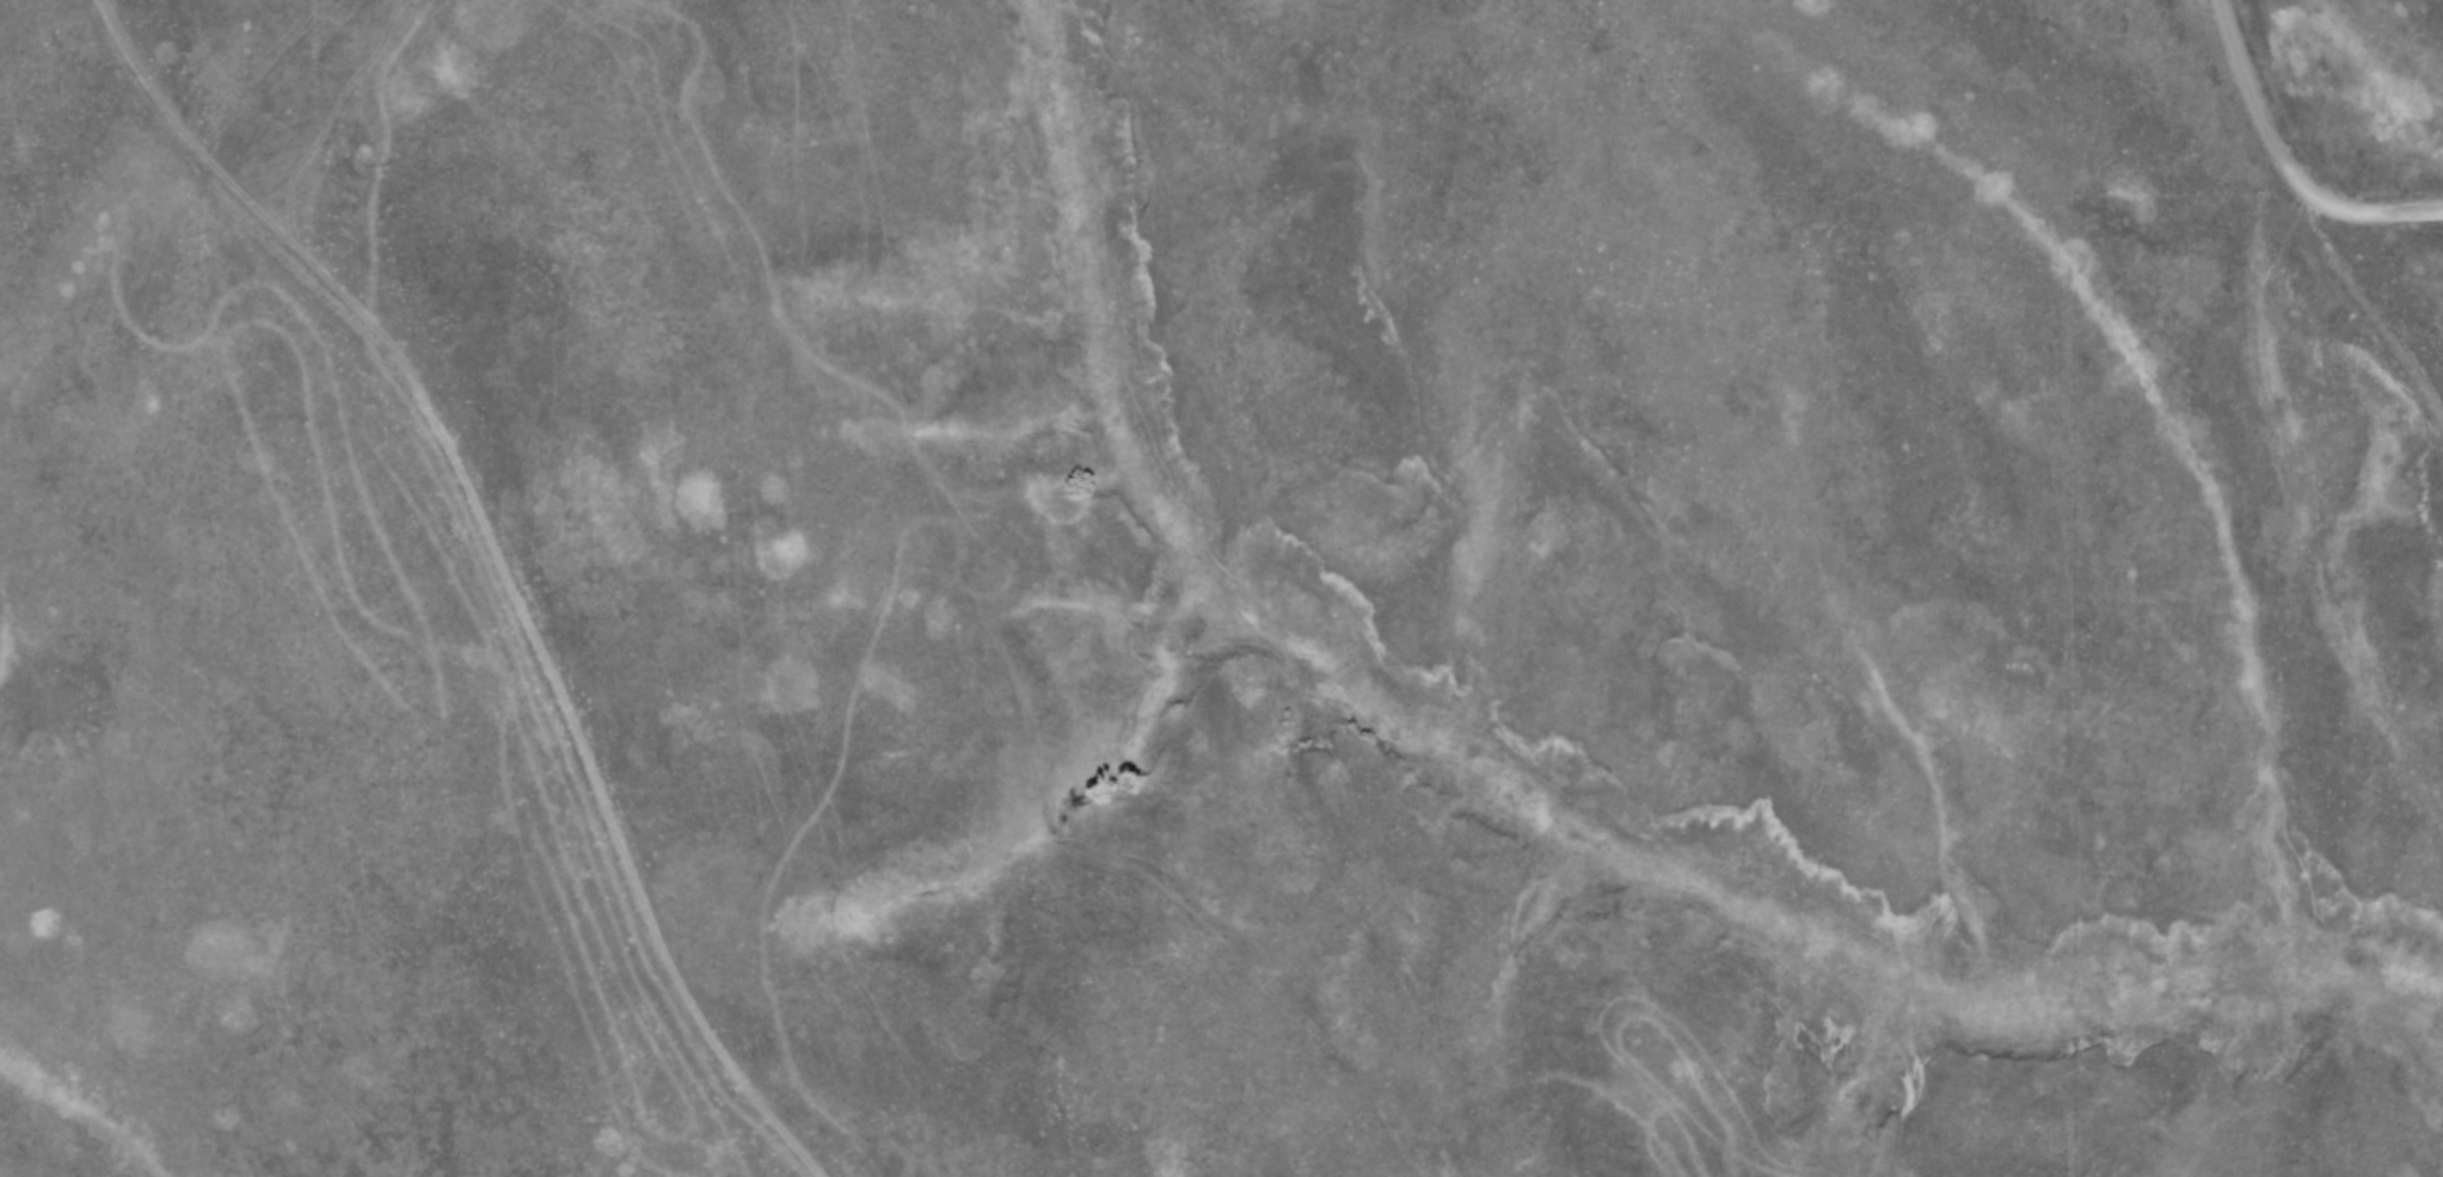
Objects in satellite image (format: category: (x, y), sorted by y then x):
road: (2265, 180)
road: (2404, 319)

